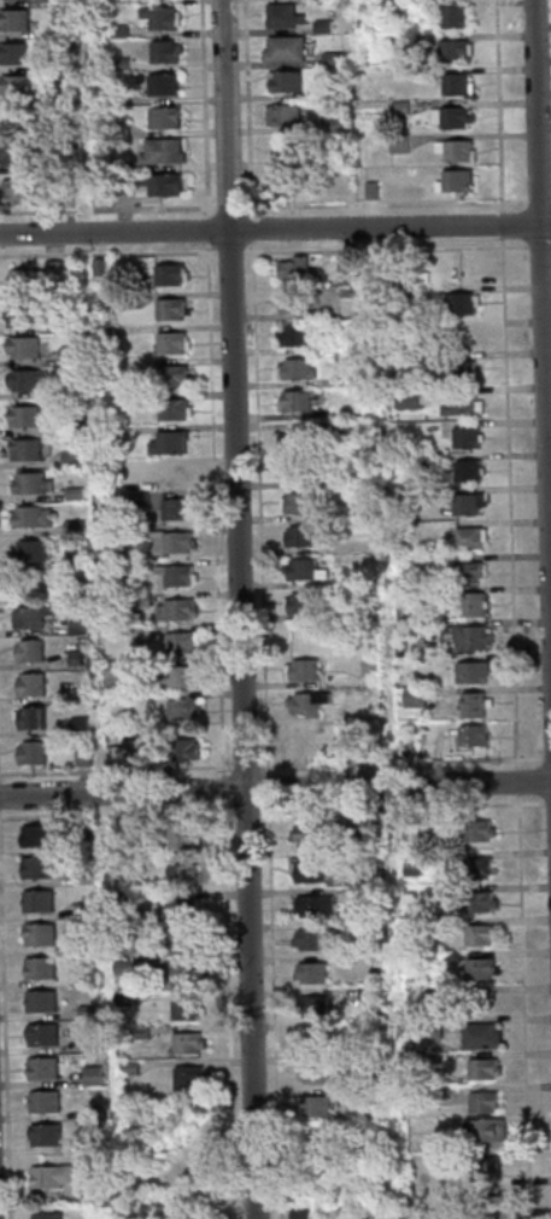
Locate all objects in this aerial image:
building: (55, 1)
building: (397, 8)
building: (281, 16)
building: (451, 16)
building: (158, 17)
building: (12, 19)
building: (322, 25)
building: (119, 30)
building: (397, 40)
building: (283, 48)
building: (451, 49)
building: (163, 51)
building: (13, 53)
building: (330, 59)
building: (118, 64)
building: (283, 81)
building: (453, 82)
building: (16, 84)
building: (162, 84)
building: (328, 92)
building: (118, 97)
road: (248, 105)
road: (499, 105)
road: (204, 106)
building: (398, 106)
building: (282, 113)
building: (450, 116)
building: (162, 117)
building: (330, 124)
building: (117, 129)
building: (398, 142)
building: (287, 148)
building: (453, 148)
building: (159, 151)
building: (16, 153)
building: (110, 164)
building: (455, 180)
building: (286, 181)
building: (159, 182)
building: (119, 185)
building: (369, 189)
building: (16, 191)
building: (68, 198)
road: (385, 203)
road: (538, 203)
road: (230, 206)
road: (107, 209)
road: (502, 224)
road: (252, 226)
road: (275, 226)
road: (209, 228)
road: (539, 245)
road: (386, 247)
road: (230, 251)
road: (107, 252)
building: (344, 262)
building: (96, 267)
building: (292, 269)
building: (168, 274)
building: (29, 276)
road: (503, 280)
building: (127, 301)
building: (295, 301)
building: (457, 302)
building: (350, 304)
building: (168, 308)
building: (19, 314)
building: (68, 322)
road: (541, 328)
building: (102, 332)
building: (294, 333)
building: (463, 338)
building: (169, 342)
building: (22, 346)
building: (68, 356)
building: (393, 363)
building: (295, 369)
building: (461, 369)
building: (170, 375)
building: (24, 379)
building: (405, 398)
building: (293, 401)
building: (458, 404)
building: (171, 408)
building: (22, 415)
building: (69, 427)
building: (350, 428)
building: (105, 437)
building: (464, 437)
building: (295, 439)
building: (166, 442)
building: (24, 449)
building: (69, 459)
building: (420, 461)
building: (113, 467)
building: (295, 469)
building: (464, 469)
building: (176, 474)
building: (358, 477)
building: (30, 483)
building: (72, 494)
building: (137, 498)
building: (462, 502)
building: (299, 503)
road: (260, 507)
building: (175, 508)
road: (215, 508)
building: (31, 517)
building: (71, 526)
building: (298, 536)
building: (468, 537)
building: (168, 542)
building: (110, 543)
building: (29, 550)
building: (74, 565)
building: (299, 568)
building: (464, 571)
building: (172, 574)
building: (139, 599)
building: (300, 602)
building: (471, 603)
building: (174, 608)
road: (239, 608)
building: (29, 617)
building: (76, 626)
building: (140, 631)
building: (468, 636)
building: (177, 642)
building: (28, 651)
building: (75, 658)
building: (301, 669)
building: (470, 671)
building: (112, 676)
building: (178, 676)
building: (29, 683)
building: (64, 694)
building: (412, 698)
building: (305, 702)
building: (470, 704)
building: (181, 708)
building: (29, 717)
building: (77, 725)
building: (470, 735)
building: (305, 746)
building: (181, 748)
building: (403, 748)
building: (30, 752)
building: (113, 754)
building: (81, 757)
road: (223, 781)
road: (269, 781)
road: (275, 788)
building: (412, 826)
building: (475, 830)
building: (310, 834)
building: (35, 835)
building: (178, 835)
building: (353, 835)
building: (119, 865)
building: (36, 867)
building: (474, 868)
building: (307, 871)
building: (180, 875)
building: (83, 877)
building: (445, 891)
building: (350, 897)
building: (119, 898)
building: (36, 900)
building: (477, 902)
building: (313, 905)
building: (176, 909)
building: (440, 925)
building: (140, 933)
building: (37, 934)
building: (476, 934)
building: (313, 939)
building: (182, 941)
building: (84, 944)
building: (449, 956)
building: (123, 967)
building: (39, 968)
building: (477, 968)
building: (310, 973)
building: (183, 975)
building: (365, 993)
building: (122, 998)
building: (39, 1001)
building: (432, 1001)
building: (311, 1005)
building: (183, 1009)
building: (87, 1011)
building: (429, 1028)
building: (140, 1032)
building: (41, 1033)
building: (480, 1036)
building: (88, 1042)
building: (186, 1043)
building: (417, 1058)
building: (348, 1061)
building: (41, 1067)
building: (127, 1067)
building: (481, 1068)
building: (313, 1072)
building: (90, 1075)
building: (187, 1077)
building: (440, 1092)
building: (350, 1093)
building: (42, 1102)
building: (481, 1102)
building: (312, 1106)
building: (90, 1112)
building: (485, 1130)
building: (43, 1135)
building: (92, 1145)
building: (480, 1168)
building: (49, 1176)
building: (92, 1190)
building: (374, 1212)
building: (408, 1212)
building: (499, 1212)
building: (344, 1213)
building: (299, 1214)
building: (47, 1215)
building: (187, 1215)

